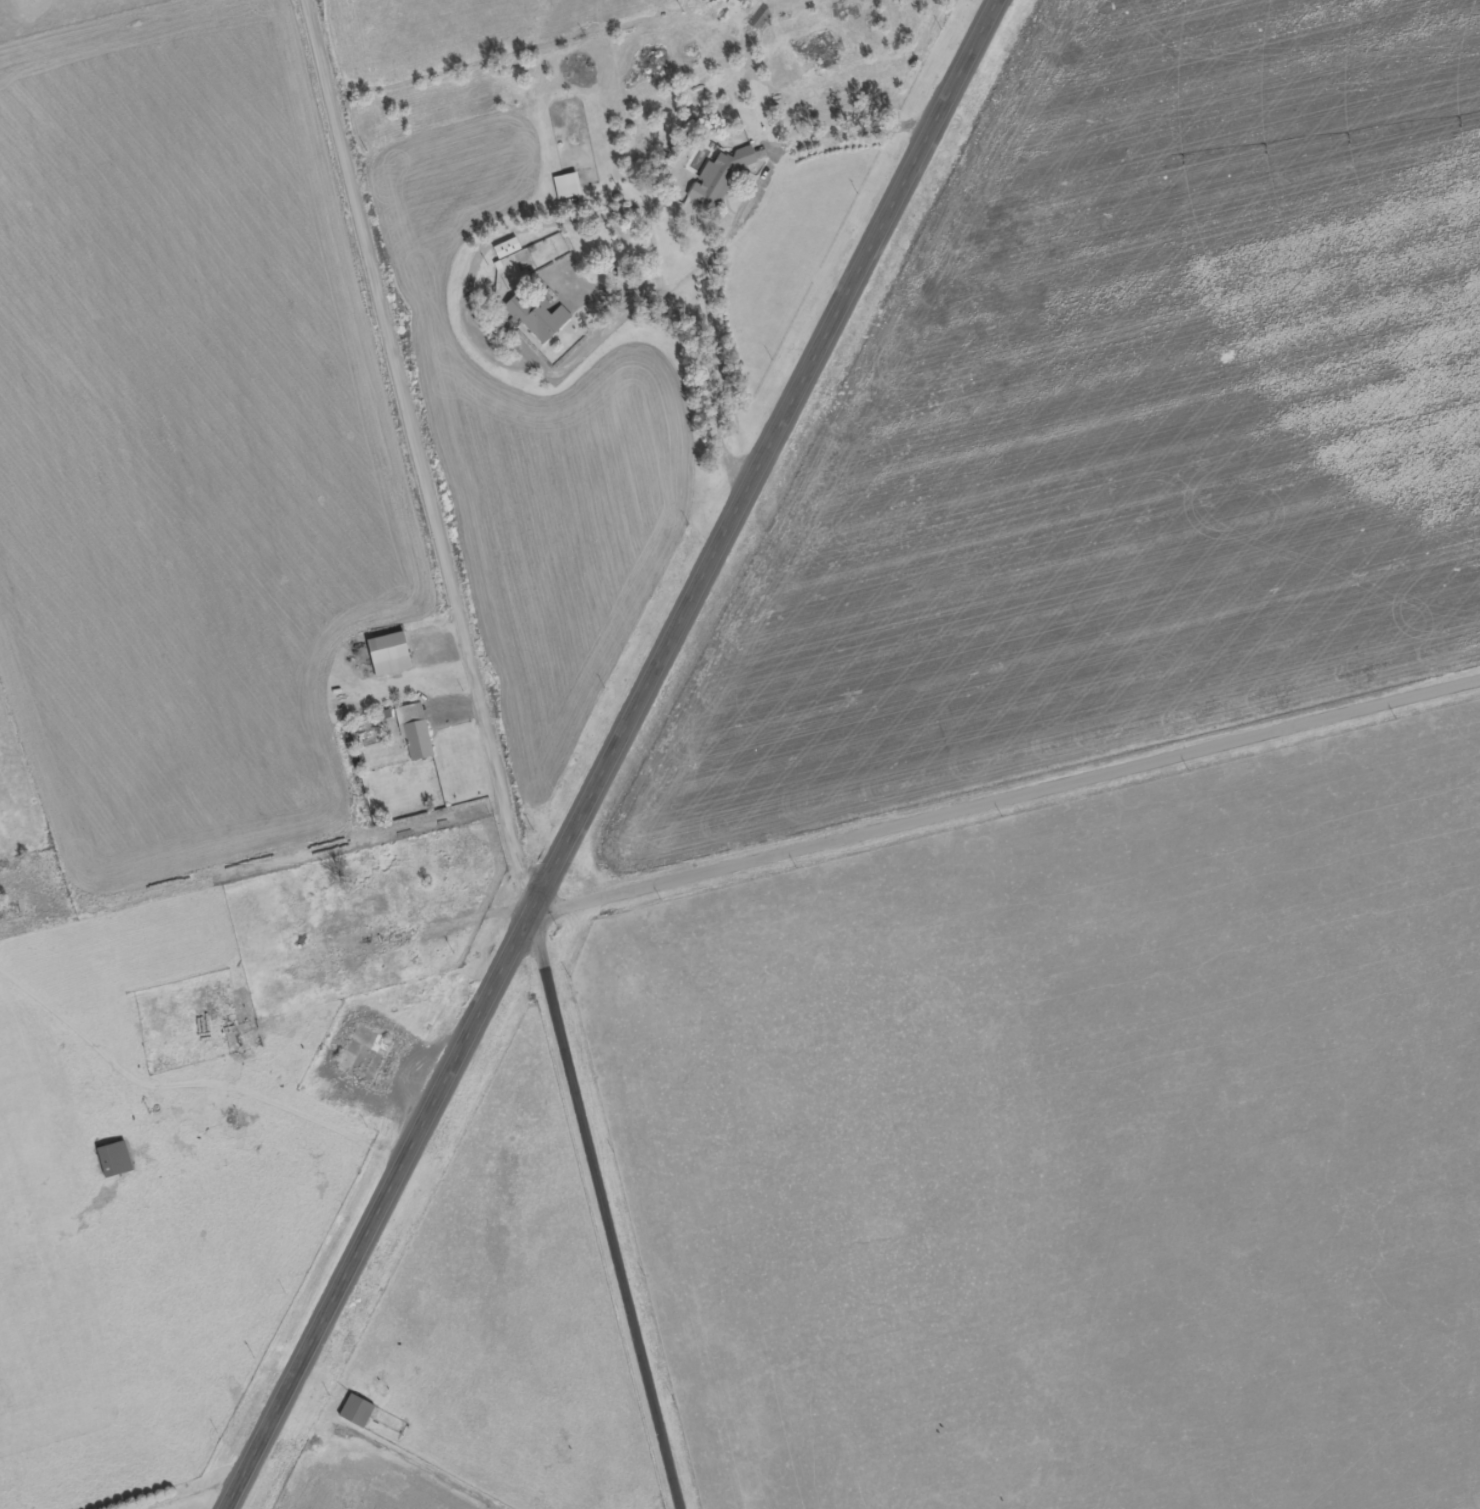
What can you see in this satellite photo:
building: (721, 179)
building: (567, 187)
road: (743, 208)
building: (507, 249)
building: (540, 318)
building: (390, 655)
building: (416, 733)
road: (495, 755)
road: (616, 756)
road: (1007, 799)
building: (368, 907)
building: (115, 1160)
building: (357, 1413)

